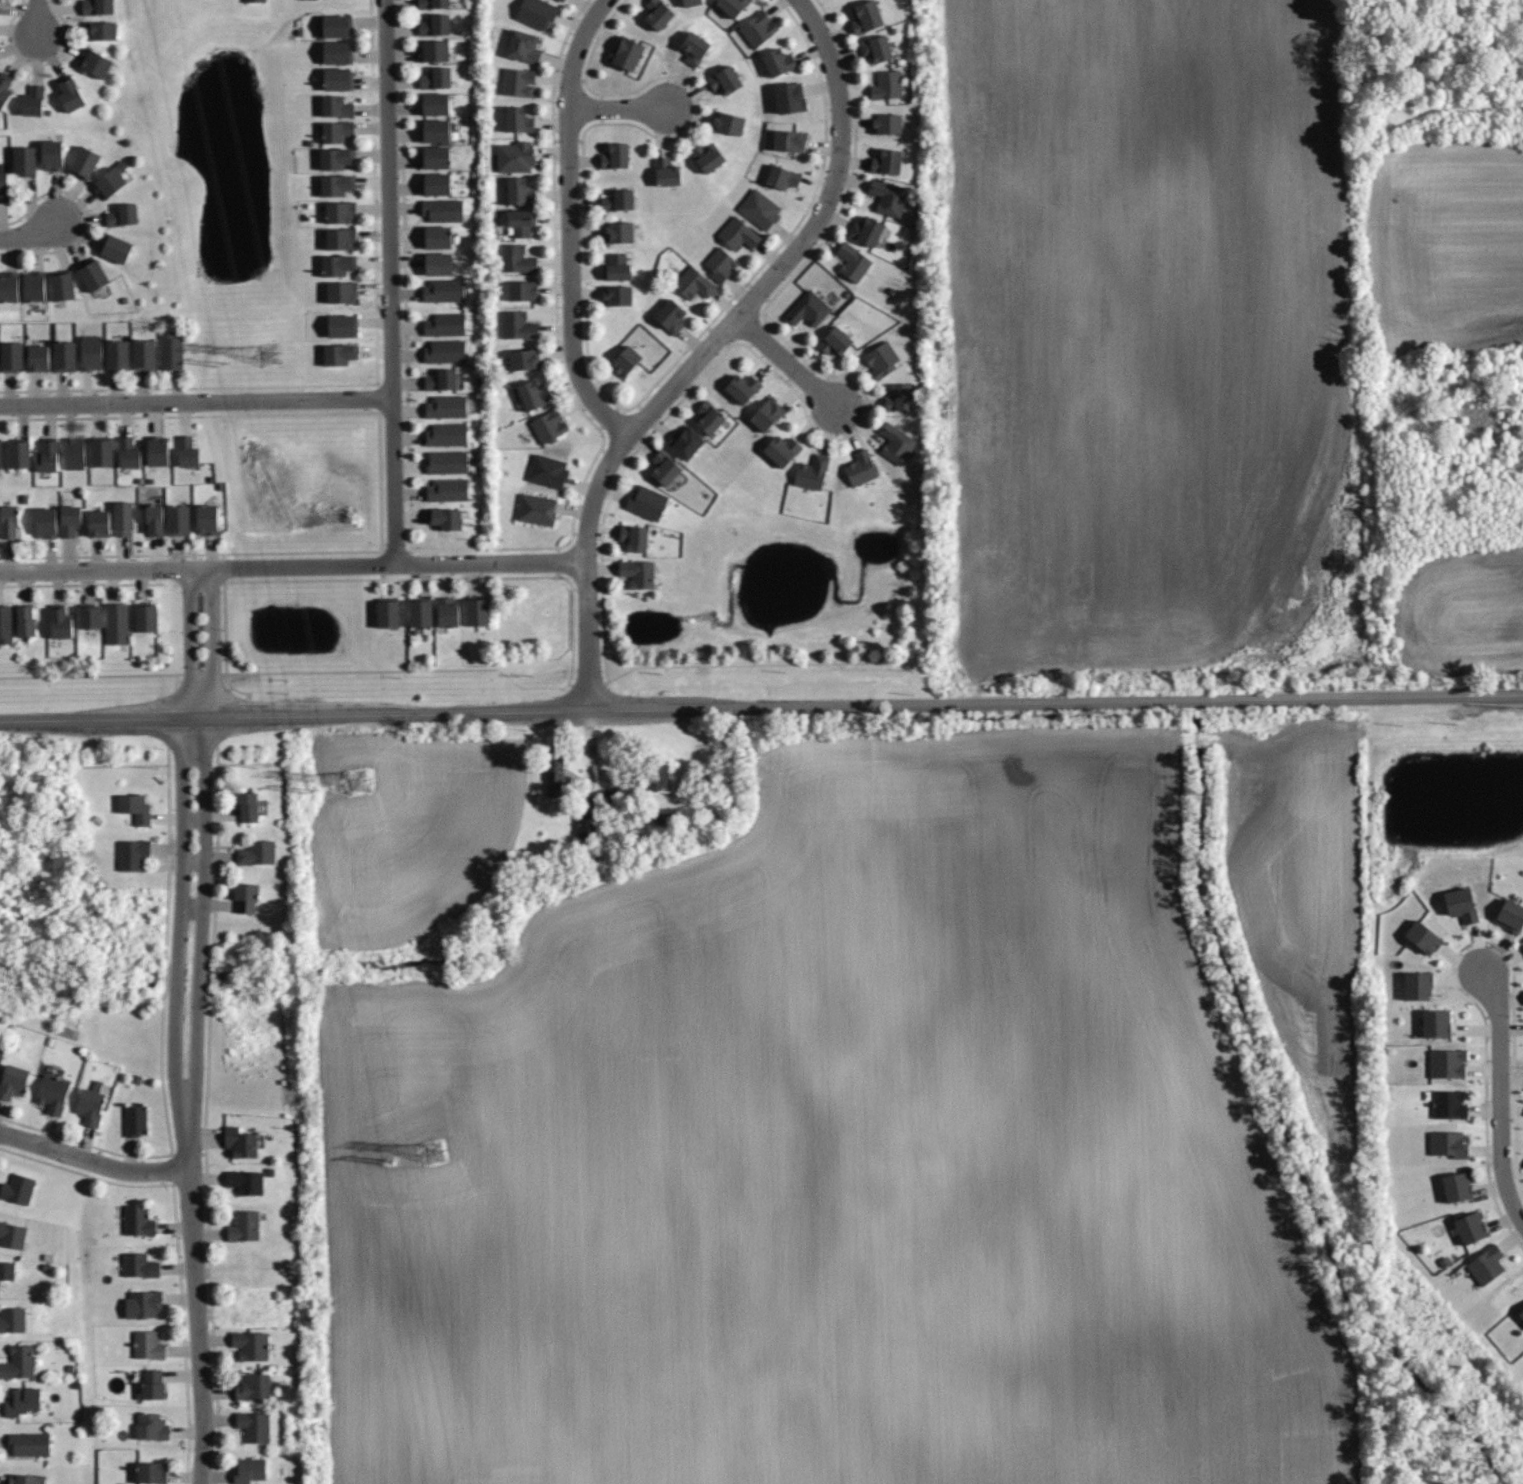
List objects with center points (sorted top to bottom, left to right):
building: (251, 0)
building: (306, 0)
building: (561, 0)
building: (689, 1)
building: (434, 3)
building: (97, 6)
building: (731, 7)
building: (536, 12)
building: (657, 13)
building: (864, 16)
road: (36, 17)
building: (435, 24)
building: (337, 26)
building: (758, 28)
building: (103, 30)
building: (522, 46)
building: (693, 48)
building: (875, 48)
building: (435, 51)
building: (338, 52)
building: (625, 54)
building: (95, 62)
building: (779, 62)
building: (437, 78)
building: (338, 79)
building: (723, 80)
building: (516, 82)
building: (888, 85)
building: (5, 89)
building: (70, 94)
building: (790, 98)
building: (32, 100)
building: (435, 104)
building: (335, 106)
road: (617, 108)
building: (516, 120)
building: (726, 123)
building: (886, 123)
building: (336, 130)
building: (435, 131)
building: (789, 140)
building: (51, 154)
road: (371, 154)
building: (615, 156)
building: (436, 157)
building: (514, 157)
building: (705, 157)
building: (336, 158)
building: (25, 159)
building: (888, 161)
building: (86, 162)
building: (666, 173)
building: (779, 177)
building: (111, 179)
building: (337, 184)
building: (437, 184)
building: (4, 186)
building: (519, 190)
building: (886, 197)
building: (616, 200)
road: (372, 208)
building: (758, 209)
building: (443, 210)
building: (340, 212)
building: (122, 215)
building: (519, 222)
road: (570, 222)
building: (864, 230)
building: (618, 232)
road: (29, 233)
building: (736, 234)
building: (437, 237)
building: (340, 238)
building: (116, 247)
building: (515, 258)
building: (851, 262)
building: (338, 264)
building: (438, 264)
building: (718, 265)
building: (616, 267)
building: (94, 274)
road: (391, 281)
building: (694, 283)
building: (63, 285)
building: (9, 286)
building: (35, 286)
building: (444, 290)
building: (522, 290)
building: (340, 291)
building: (616, 295)
building: (808, 308)
building: (669, 316)
building: (446, 324)
building: (343, 325)
building: (516, 325)
building: (835, 340)
road: (707, 347)
building: (171, 350)
road: (376, 351)
building: (447, 351)
building: (92, 352)
building: (145, 354)
building: (339, 354)
building: (119, 355)
building: (65, 356)
power tower: (271, 356)
building: (12, 357)
building: (39, 358)
building: (525, 358)
building: (881, 359)
building: (624, 361)
road: (786, 362)
building: (441, 380)
building: (742, 388)
building: (533, 394)
building: (898, 397)
road: (196, 401)
building: (447, 407)
building: (767, 413)
building: (708, 419)
building: (547, 427)
building: (447, 434)
building: (685, 441)
building: (894, 444)
building: (780, 450)
building: (159, 451)
building: (188, 451)
building: (103, 452)
building: (1, 453)
building: (75, 453)
building: (127, 453)
building: (20, 454)
building: (48, 456)
building: (447, 462)
building: (663, 467)
building: (859, 468)
building: (546, 471)
building: (811, 473)
building: (675, 481)
building: (448, 490)
building: (645, 502)
building: (534, 510)
building: (445, 518)
building: (123, 519)
building: (155, 520)
building: (179, 520)
building: (208, 520)
building: (71, 521)
building: (10, 522)
building: (48, 522)
building: (98, 523)
building: (633, 537)
road: (292, 565)
building: (638, 573)
building: (477, 610)
building: (387, 611)
building: (446, 611)
building: (419, 612)
building: (91, 617)
building: (146, 619)
building: (26, 621)
building: (115, 622)
building: (59, 624)
building: (6, 625)
road: (761, 707)
building: (554, 769)
building: (651, 777)
power tower: (365, 783)
building: (248, 808)
building: (135, 810)
building: (131, 853)
building: (256, 854)
building: (246, 897)
building: (1461, 903)
building: (1510, 914)
building: (1424, 936)
building: (1417, 984)
building: (1435, 1023)
road: (186, 1025)
building: (1447, 1062)
building: (12, 1085)
building: (51, 1095)
road: (1500, 1097)
building: (91, 1104)
building: (1449, 1104)
building: (134, 1120)
building: (1447, 1143)
building: (241, 1144)
power tower: (445, 1155)
road: (93, 1161)
building: (243, 1181)
building: (1457, 1186)
building: (16, 1189)
building: (137, 1221)
building: (243, 1226)
building: (1470, 1228)
building: (12, 1237)
building: (1486, 1264)
building: (138, 1266)
building: (7, 1274)
building: (143, 1305)
building: (1521, 1314)
building: (12, 1320)
building: (146, 1345)
building: (249, 1345)
building: (18, 1361)
building: (151, 1385)
building: (252, 1388)
building: (22, 1400)
building: (151, 1426)
building: (253, 1426)
building: (30, 1445)
building: (248, 1469)
building: (151, 1472)
building: (25, 1479)

